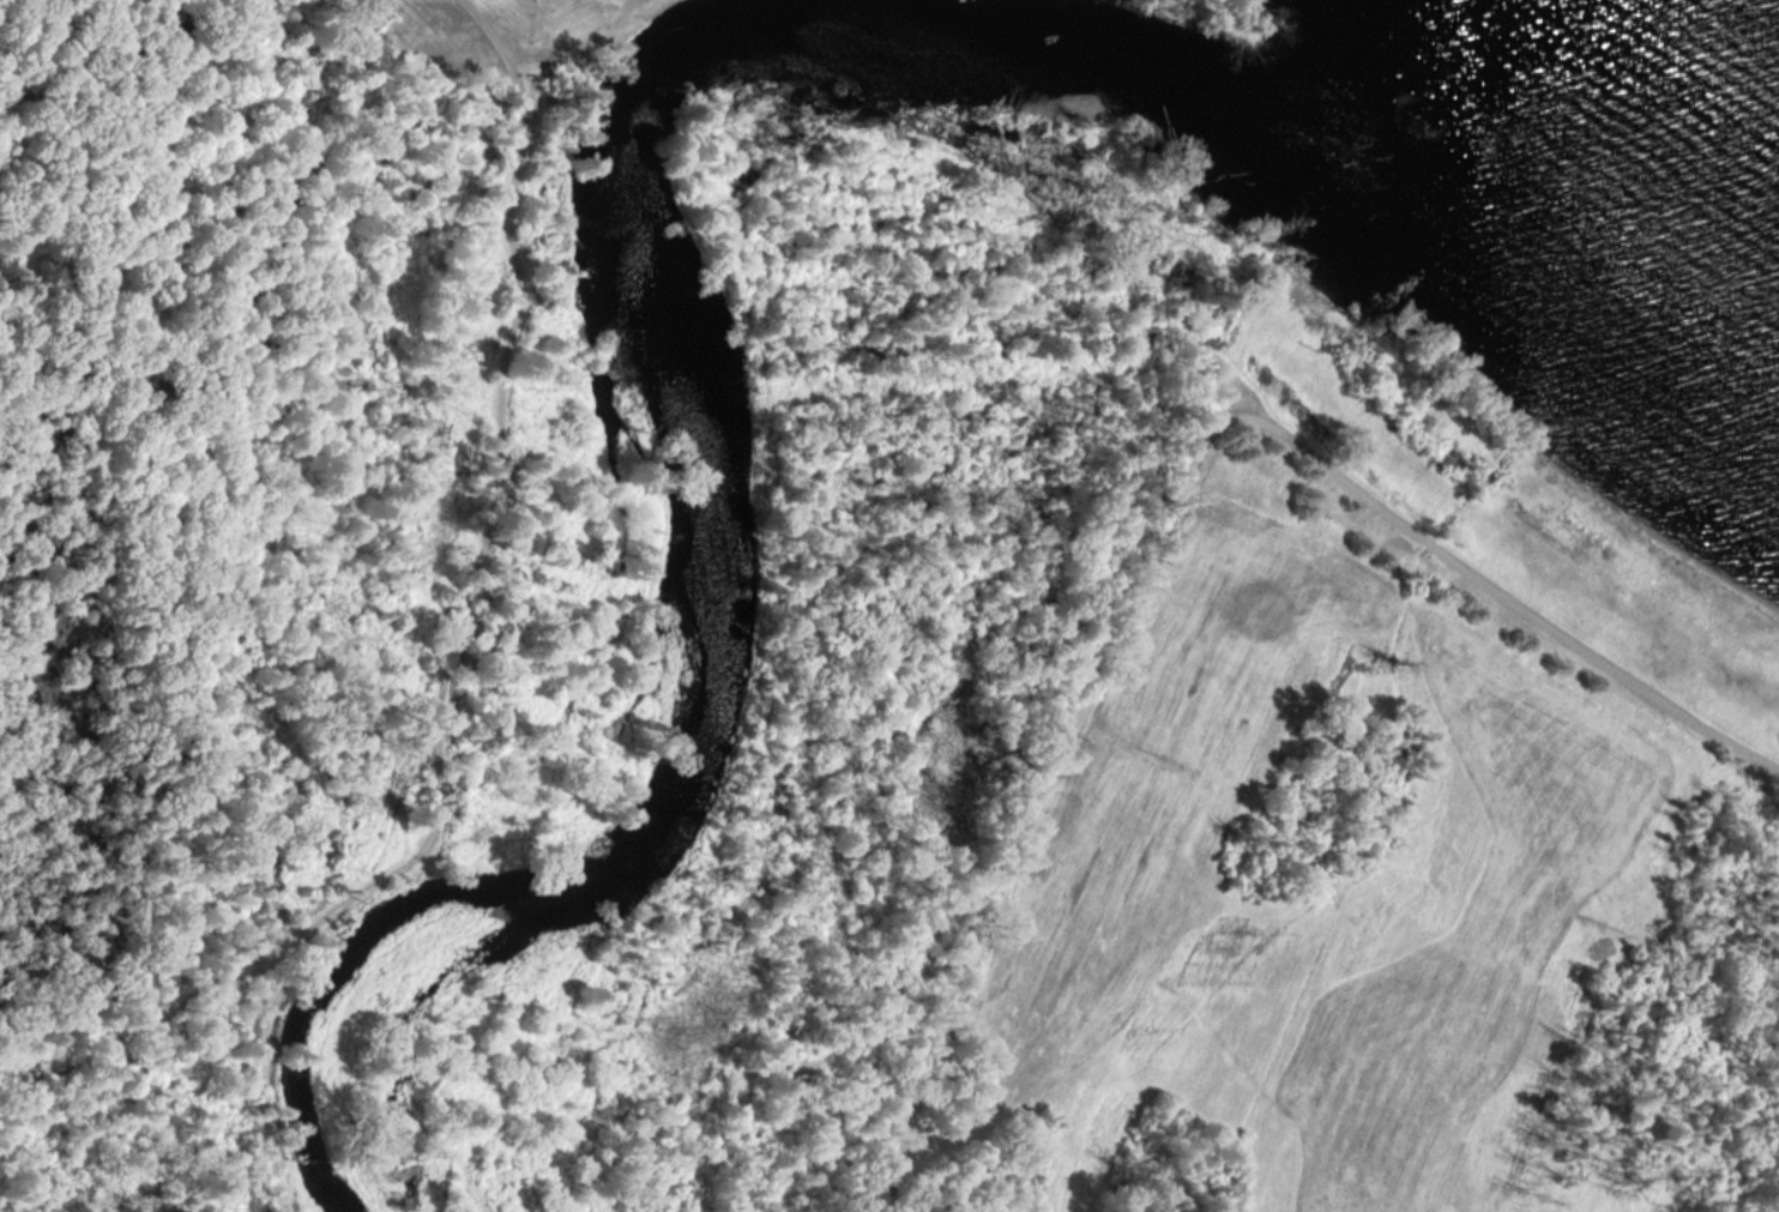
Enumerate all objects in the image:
river: (716, 445)
road: (1170, 502)
road: (458, 626)

